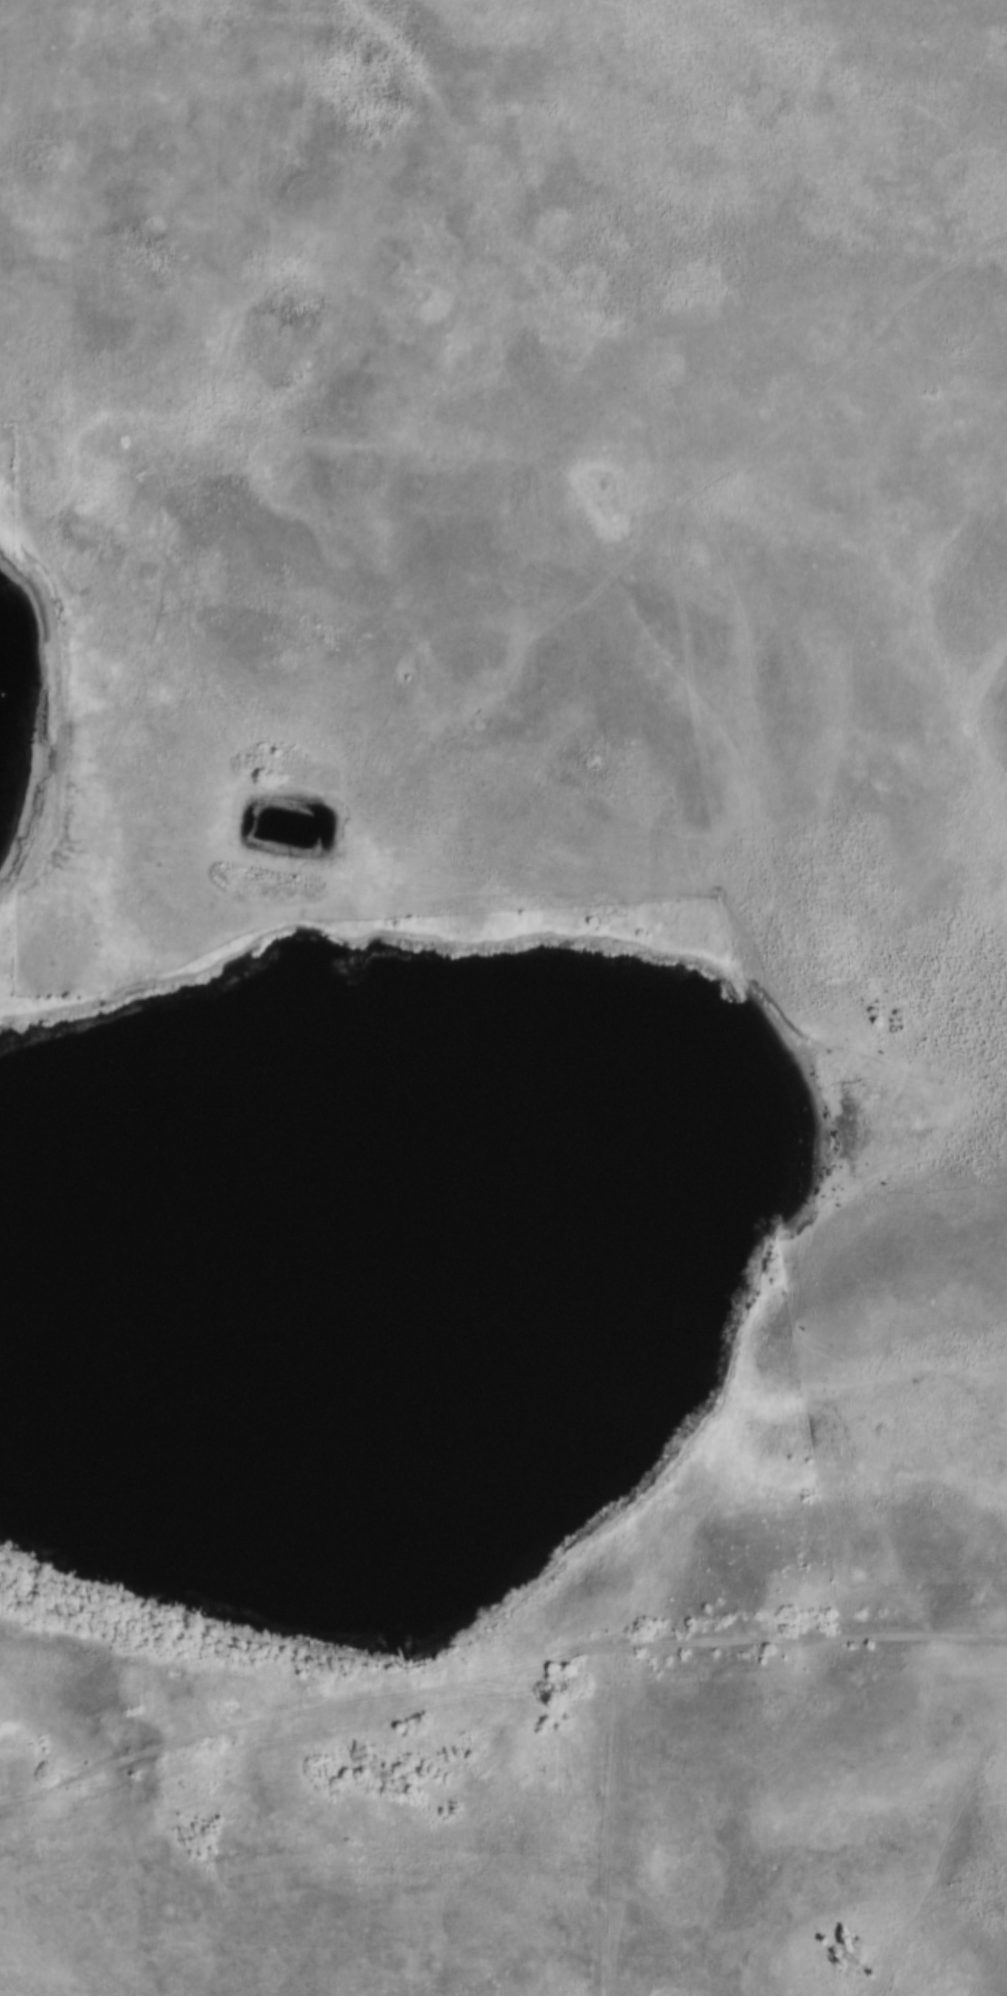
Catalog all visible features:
road: (495, 1667)

